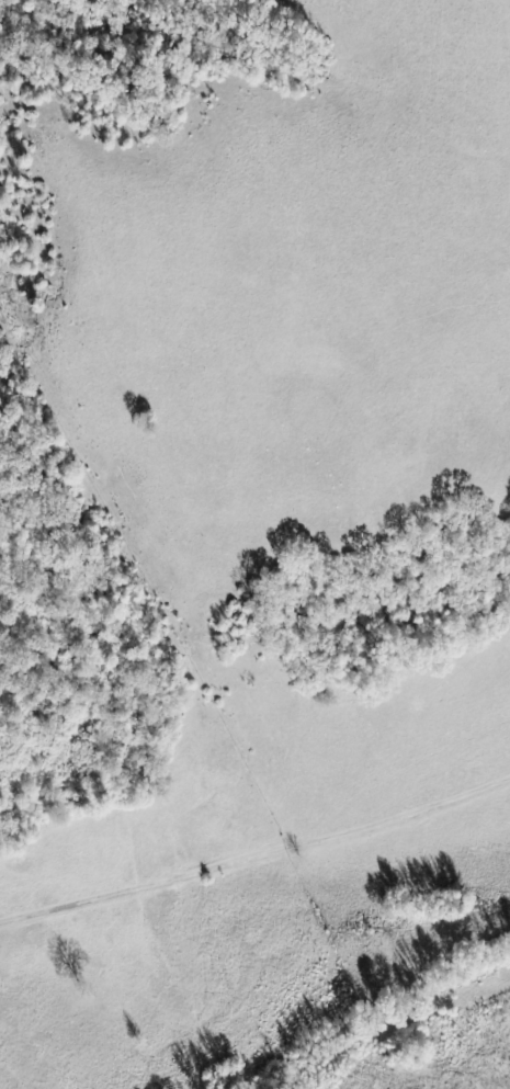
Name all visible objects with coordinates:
road: (256, 851)

